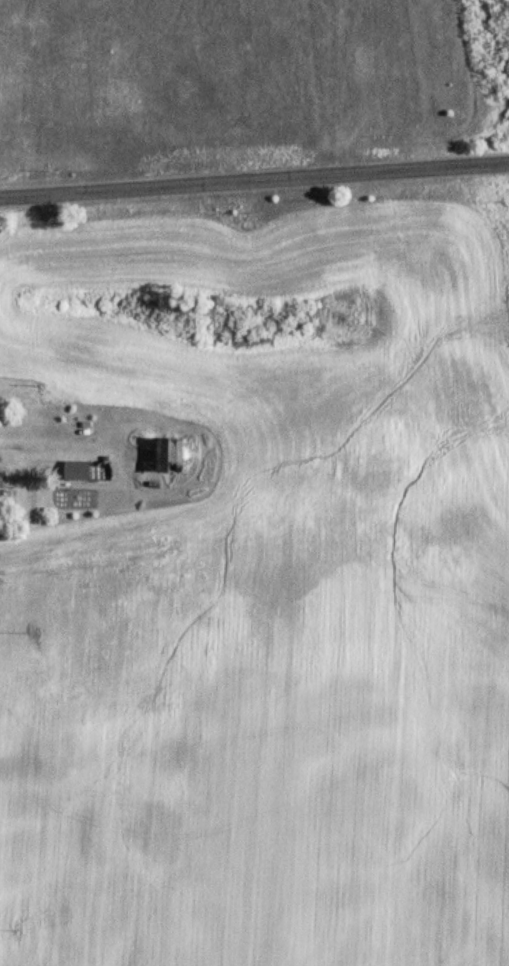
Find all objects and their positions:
road: (254, 180)
building: (172, 456)
building: (79, 471)
building: (1, 489)

